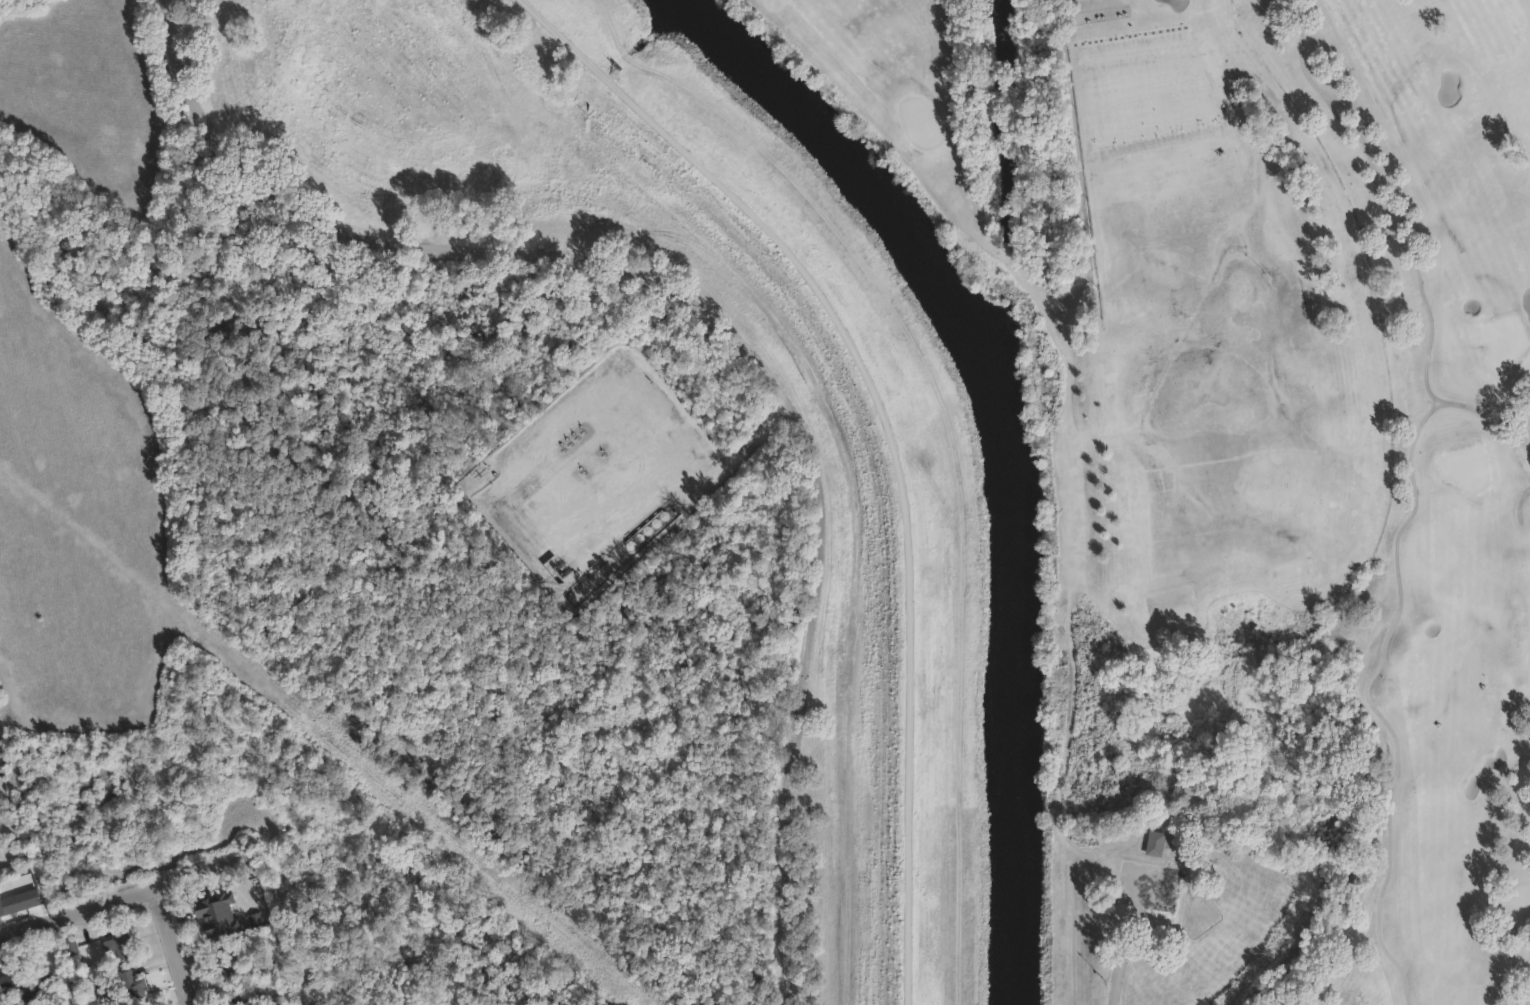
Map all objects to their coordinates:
road: (725, 329)
road: (892, 435)
river: (1007, 444)
road: (739, 455)
park: (1251, 466)
building: (1154, 843)
building: (252, 893)
road: (79, 909)
building: (210, 913)
park: (400, 924)
road: (1126, 942)
building: (124, 943)
road: (176, 944)
building: (71, 946)
building: (227, 961)
building: (7, 976)
building: (132, 989)
building: (28, 998)
building: (240, 1000)
building: (277, 1003)
building: (289, 1004)

